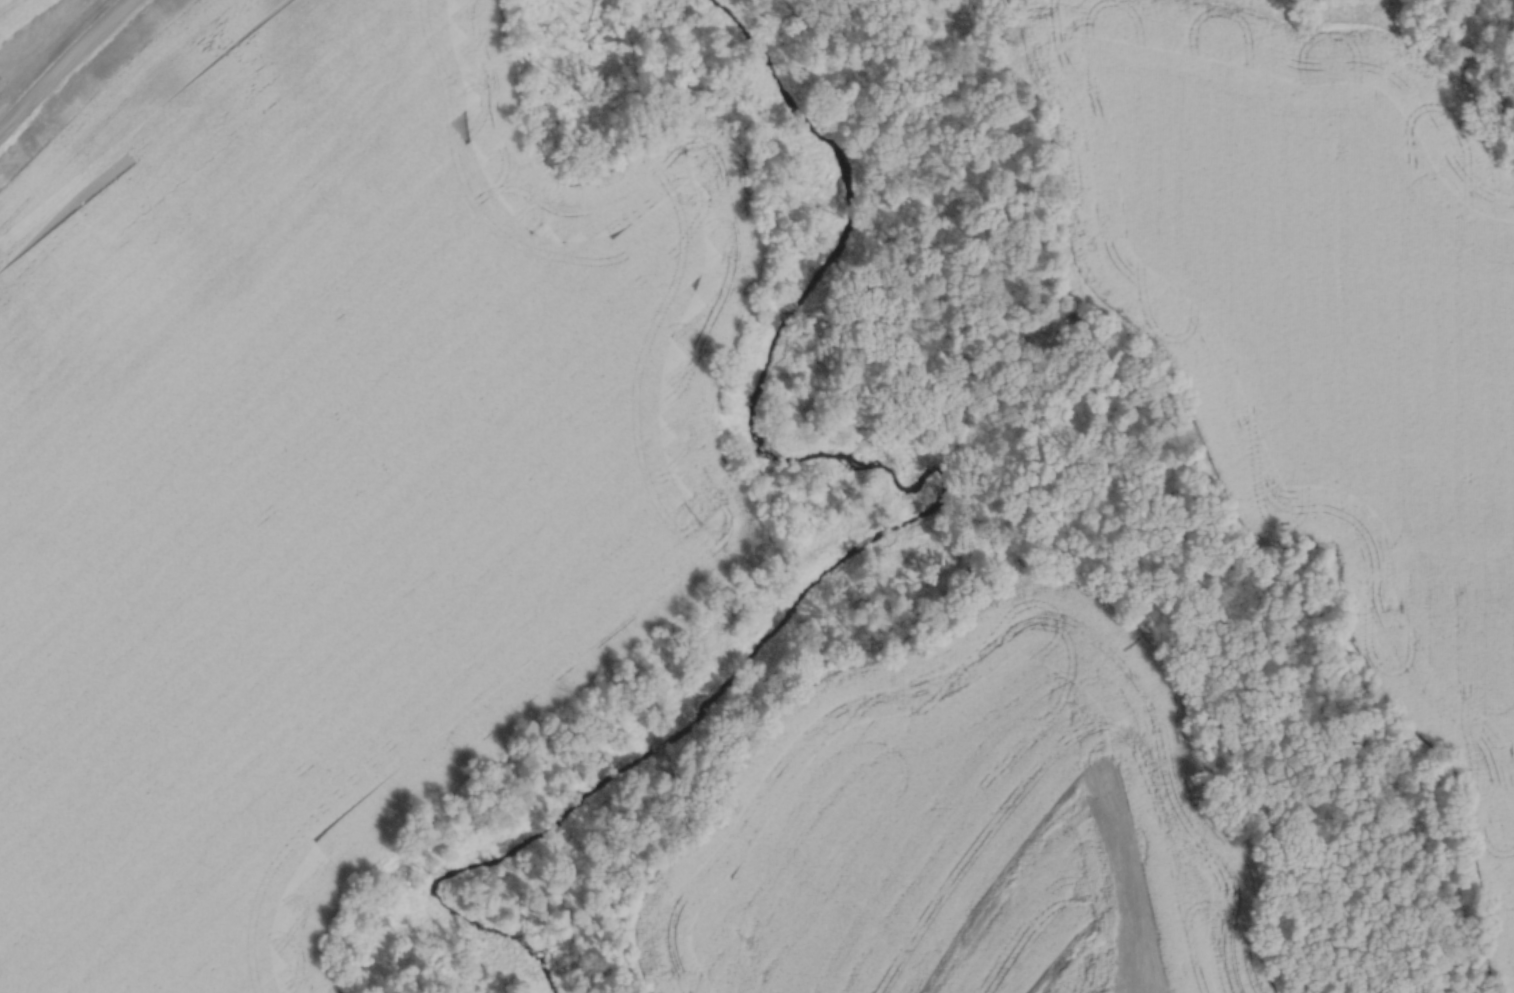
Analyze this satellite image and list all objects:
road: (65, 65)

